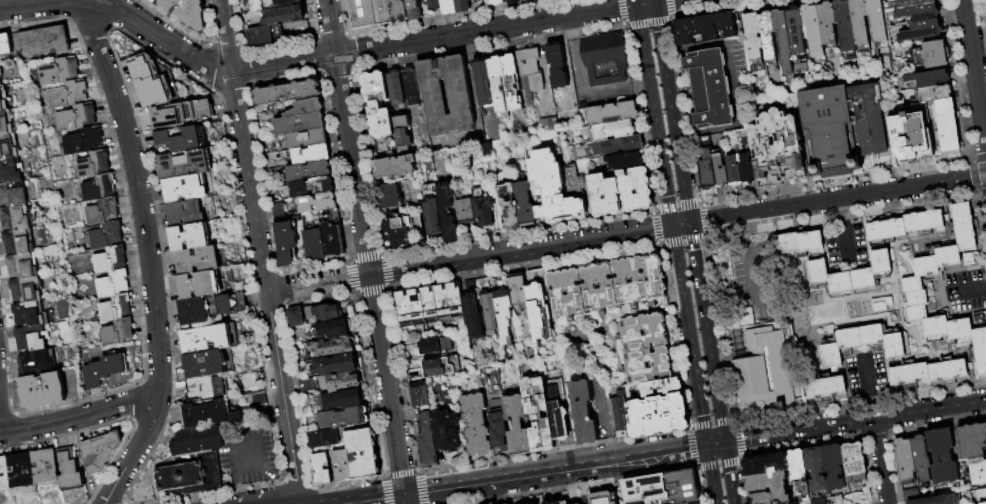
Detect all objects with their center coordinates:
building: (527, 0)
building: (893, 0)
building: (154, 1)
building: (515, 1)
road: (664, 1)
building: (479, 2)
building: (498, 2)
road: (653, 2)
building: (914, 2)
road: (636, 3)
building: (274, 4)
traffic signals: (654, 4)
building: (434, 5)
building: (462, 5)
road: (645, 5)
building: (448, 6)
traffic signals: (637, 6)
building: (415, 9)
building: (187, 11)
building: (400, 11)
road: (123, 12)
building: (371, 13)
power substation: (371, 13)
building: (920, 13)
building: (285, 16)
building: (828, 25)
building: (706, 28)
building: (846, 28)
building: (880, 29)
building: (922, 30)
building: (782, 32)
building: (814, 32)
building: (265, 35)
building: (768, 37)
building: (798, 37)
road: (434, 39)
building: (754, 39)
building: (43, 41)
building: (5, 44)
road: (979, 48)
building: (931, 54)
building: (605, 59)
building: (787, 66)
building: (556, 67)
road: (974, 68)
road: (664, 70)
building: (59, 71)
road: (734, 71)
building: (1, 72)
building: (530, 73)
building: (154, 81)
building: (512, 82)
building: (0, 83)
building: (484, 83)
building: (498, 83)
building: (932, 85)
building: (410, 87)
building: (395, 88)
building: (710, 88)
building: (287, 92)
building: (67, 94)
building: (3, 99)
building: (461, 103)
building: (379, 104)
building: (306, 108)
building: (612, 113)
building: (183, 114)
road: (654, 115)
building: (76, 118)
building: (869, 118)
building: (6, 123)
building: (299, 124)
building: (549, 126)
building: (947, 127)
building: (614, 130)
road: (722, 130)
building: (402, 131)
building: (830, 131)
building: (910, 136)
road: (348, 137)
building: (307, 139)
building: (183, 140)
building: (83, 141)
building: (622, 145)
building: (8, 146)
building: (705, 148)
building: (778, 148)
building: (487, 152)
building: (311, 155)
building: (625, 160)
building: (93, 164)
building: (185, 165)
building: (395, 167)
building: (734, 168)
building: (747, 169)
building: (11, 170)
building: (309, 171)
building: (721, 171)
building: (708, 174)
road: (681, 179)
building: (312, 187)
building: (556, 187)
building: (98, 188)
building: (185, 189)
building: (621, 192)
building: (13, 194)
road: (863, 194)
building: (391, 196)
traffic signals: (667, 196)
building: (317, 203)
building: (526, 204)
building: (510, 207)
building: (483, 208)
building: (432, 210)
building: (102, 211)
building: (465, 211)
building: (186, 213)
building: (447, 213)
building: (15, 218)
road: (715, 218)
traffic signals: (707, 220)
building: (923, 220)
road: (680, 223)
road: (744, 227)
building: (963, 227)
traffic signals: (651, 229)
building: (885, 229)
building: (396, 232)
building: (106, 235)
building: (286, 235)
building: (190, 237)
building: (334, 239)
building: (809, 241)
building: (19, 242)
building: (785, 243)
building: (315, 244)
traffic signals: (694, 250)
road: (259, 251)
road: (148, 254)
building: (947, 256)
road: (469, 258)
building: (110, 259)
building: (199, 260)
building: (880, 260)
building: (925, 265)
building: (23, 266)
building: (817, 271)
building: (654, 277)
building: (862, 278)
road: (753, 279)
building: (639, 281)
building: (839, 281)
building: (112, 284)
building: (911, 284)
building: (198, 285)
building: (598, 288)
building: (517, 289)
road: (975, 289)
building: (27, 290)
building: (576, 293)
building: (916, 298)
building: (539, 305)
building: (430, 306)
building: (115, 308)
building: (211, 308)
building: (323, 312)
building: (916, 312)
building: (489, 313)
building: (32, 314)
building: (503, 314)
building: (296, 317)
building: (473, 317)
road: (704, 322)
building: (935, 326)
building: (334, 329)
building: (959, 329)
building: (117, 332)
building: (631, 332)
road: (689, 335)
building: (871, 335)
building: (849, 337)
building: (32, 338)
building: (210, 339)
building: (256, 339)
building: (893, 345)
building: (332, 347)
building: (431, 347)
building: (979, 350)
building: (529, 352)
building: (830, 354)
building: (38, 363)
building: (205, 364)
building: (335, 365)
building: (635, 365)
building: (441, 367)
building: (104, 369)
building: (762, 370)
building: (947, 370)
building: (908, 373)
building: (341, 382)
road: (386, 384)
building: (308, 385)
building: (660, 387)
building: (825, 387)
building: (208, 388)
building: (42, 390)
building: (419, 395)
building: (256, 398)
building: (342, 400)
building: (583, 412)
building: (210, 413)
building: (618, 413)
building: (538, 414)
building: (658, 415)
road: (81, 416)
building: (344, 417)
building: (558, 420)
road: (855, 421)
building: (475, 424)
building: (497, 425)
building: (517, 425)
building: (446, 431)
road: (722, 432)
building: (331, 437)
road: (261, 439)
building: (316, 440)
building: (971, 440)
building: (198, 441)
building: (427, 441)
traffic signals: (724, 443)
road: (715, 444)
traffic signals: (707, 446)
road: (672, 450)
building: (99, 452)
building: (363, 453)
building: (941, 456)
building: (921, 458)
road: (879, 461)
building: (904, 461)
building: (854, 462)
building: (765, 464)
building: (46, 466)
building: (342, 466)
building: (834, 467)
building: (322, 468)
building: (22, 470)
building: (816, 470)
building: (69, 472)
building: (977, 472)
road: (729, 473)
building: (4, 474)
building: (798, 474)
road: (522, 475)
road: (711, 475)
building: (192, 476)
building: (766, 482)
road: (237, 488)
building: (663, 488)
building: (978, 493)
traffic signals: (405, 494)
building: (911, 494)
building: (601, 497)
building: (770, 498)
road: (373, 499)
road: (405, 499)
building: (936, 500)
building: (820, 501)
building: (554, 502)
building: (494, 503)
building: (578, 503)
building: (983, 503)

